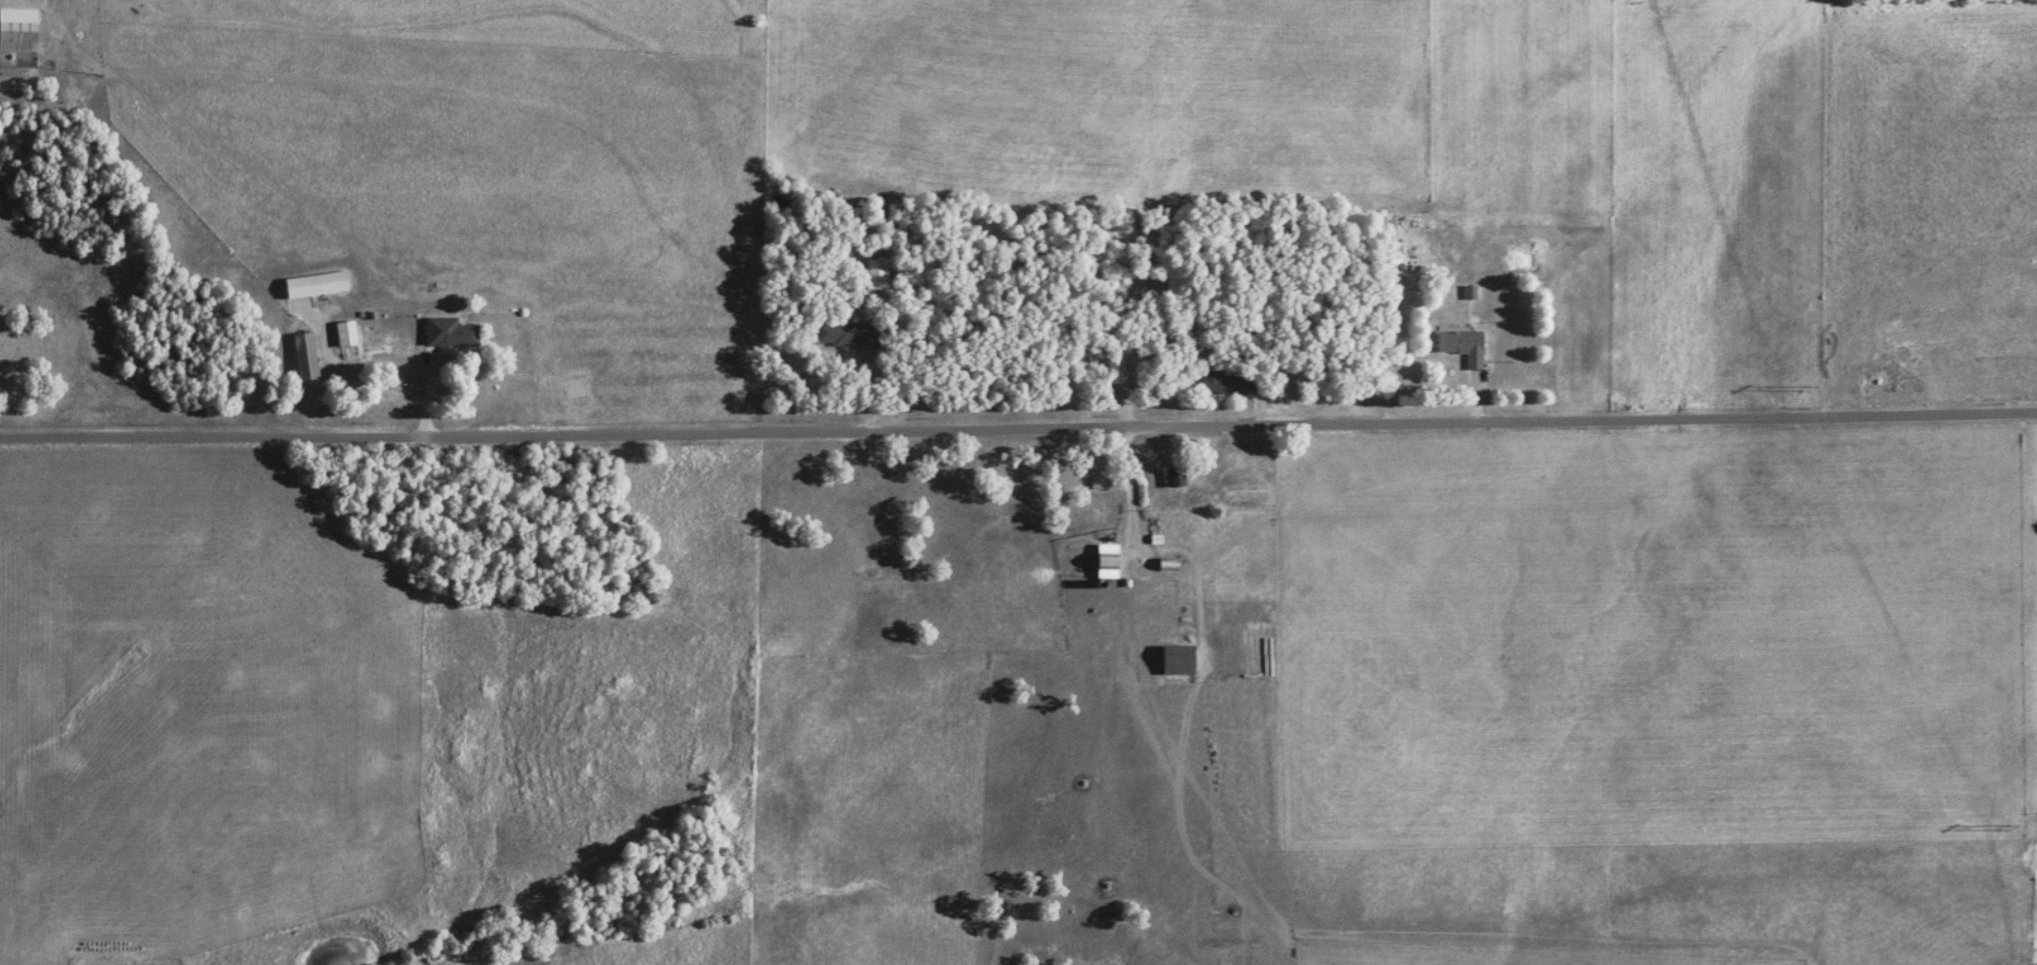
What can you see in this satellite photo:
building: (19, 28)
building: (878, 271)
building: (328, 281)
building: (452, 331)
building: (348, 332)
building: (847, 332)
building: (1465, 344)
road: (1209, 348)
building: (308, 355)
road: (868, 361)
building: (1117, 368)
road: (393, 371)
building: (1226, 379)
road: (1475, 399)
road: (1018, 428)
building: (1177, 474)
road: (1152, 549)
building: (1111, 560)
building: (1181, 659)

